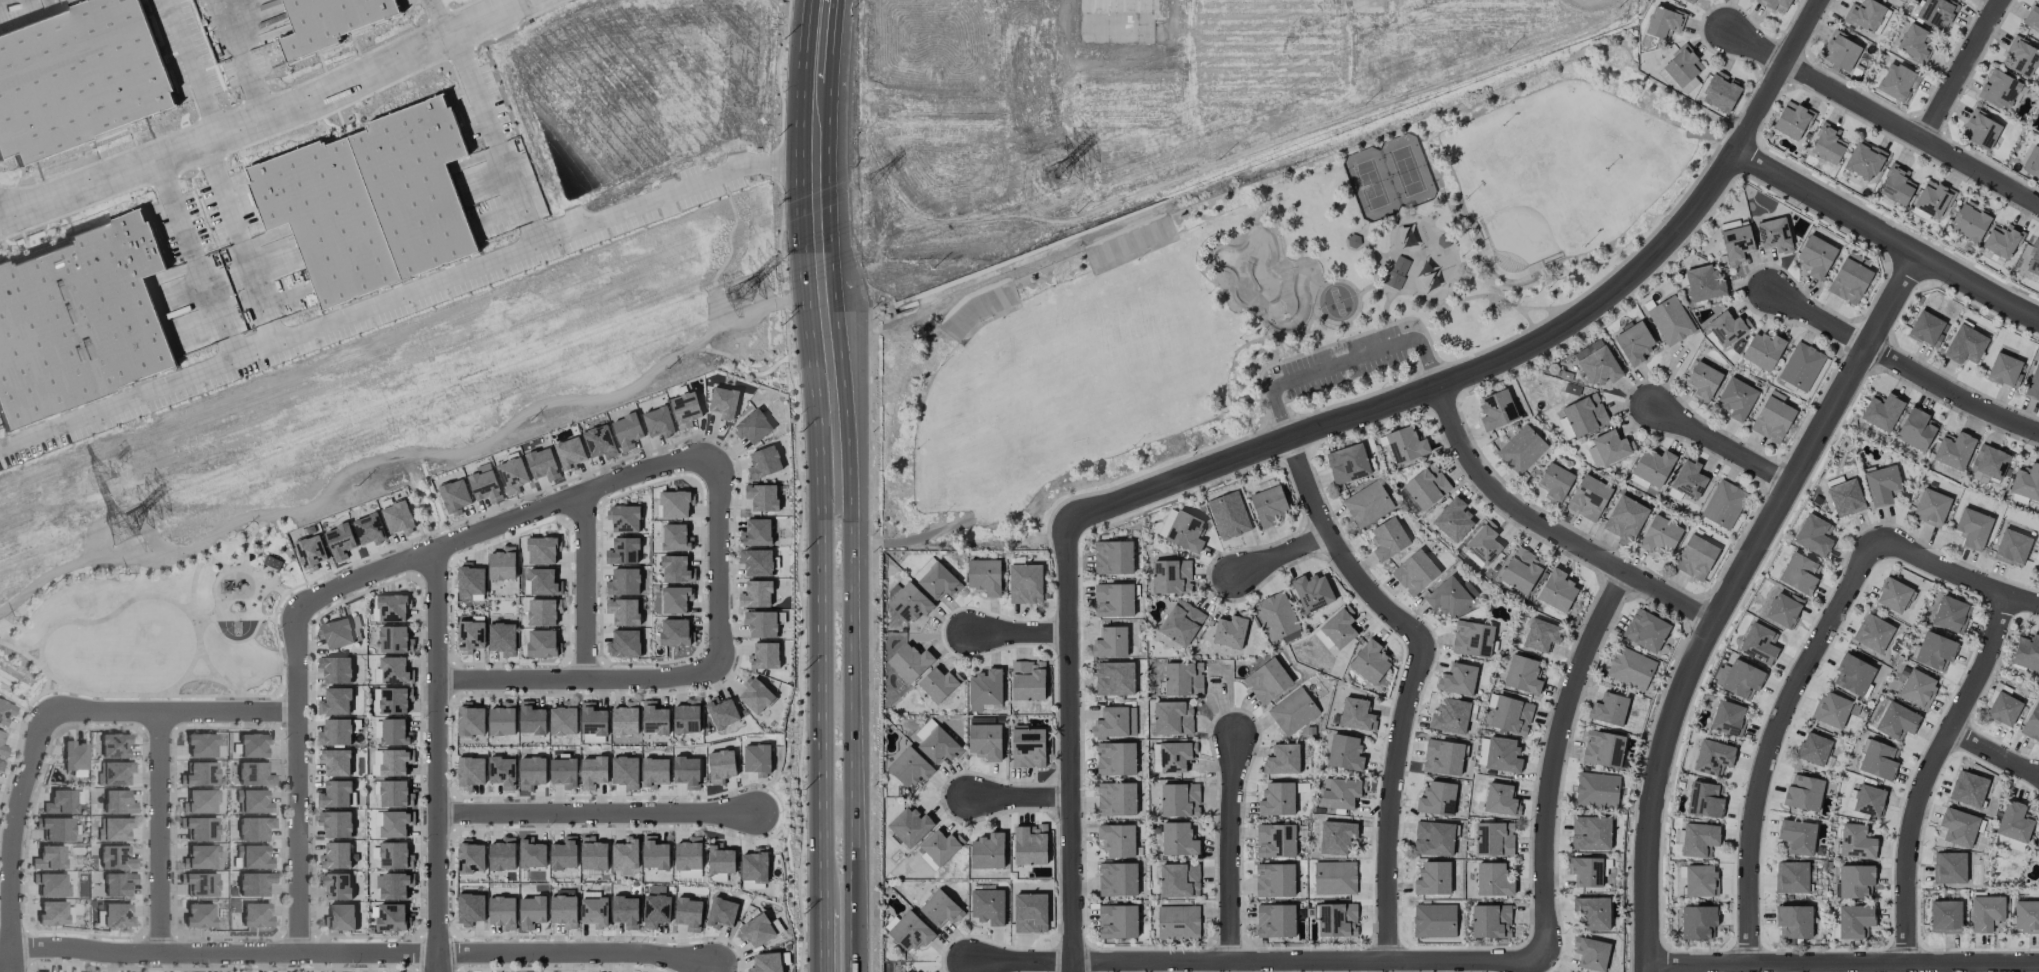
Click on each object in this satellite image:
building: (1689, 0)
building: (1775, 5)
road: (704, 6)
building: (1935, 13)
road: (437, 14)
building: (1864, 15)
building: (2033, 16)
building: (324, 20)
building: (1663, 22)
road: (504, 28)
road: (232, 39)
road: (459, 41)
building: (1913, 42)
road: (182, 46)
building: (1841, 50)
building: (2022, 57)
building: (1682, 66)
road: (1962, 69)
building: (75, 72)
road: (1777, 74)
building: (1897, 81)
building: (2001, 90)
building: (1720, 91)
road: (254, 95)
road: (207, 111)
road: (1881, 114)
road: (255, 115)
building: (1792, 120)
building: (1980, 129)
road: (543, 138)
building: (1827, 144)
road: (501, 148)
road: (208, 156)
building: (1863, 160)
road: (776, 161)
building: (2032, 162)
road: (162, 174)
park: (1389, 176)
power tower: (1055, 177)
building: (415, 178)
power tower: (875, 181)
building: (1896, 185)
building: (1933, 198)
building: (324, 212)
building: (1970, 221)
building: (1774, 234)
road: (1885, 237)
building: (1353, 240)
building: (1442, 240)
building: (2002, 240)
road: (818, 241)
building: (1736, 243)
road: (244, 256)
building: (1816, 256)
building: (1857, 258)
building: (1396, 271)
road: (201, 274)
park: (1270, 281)
building: (1849, 281)
building: (1703, 283)
building: (108, 297)
power tower: (741, 298)
road: (368, 300)
park: (1270, 301)
park: (1337, 302)
building: (1670, 320)
building: (1728, 327)
building: (1926, 328)
building: (1633, 342)
building: (1965, 345)
building: (32, 346)
building: (1762, 350)
parking lot: (1343, 362)
road: (1343, 362)
building: (1597, 363)
building: (1801, 366)
road: (1900, 367)
building: (2004, 370)
building: (1702, 382)
building: (2033, 383)
road: (1435, 388)
building: (1736, 398)
building: (723, 402)
building: (685, 409)
building: (1497, 409)
building: (1881, 411)
building: (1582, 416)
building: (1772, 417)
building: (658, 422)
building: (752, 426)
building: (1916, 429)
building: (626, 431)
building: (599, 441)
building: (1405, 444)
road: (1720, 444)
building: (1609, 448)
building: (1521, 449)
building: (1953, 450)
building: (569, 452)
building: (764, 462)
building: (1989, 462)
building: (1347, 463)
building: (542, 464)
building: (1653, 466)
power tower: (100, 475)
building: (512, 475)
building: (1689, 478)
building: (1554, 482)
building: (2026, 482)
building: (484, 483)
building: (1882, 485)
building: (1426, 486)
building: (454, 495)
building: (761, 496)
building: (1588, 497)
building: (1845, 497)
building: (1367, 503)
building: (673, 504)
building: (1723, 504)
building: (1268, 505)
building: (1931, 507)
building: (1228, 515)
building: (397, 517)
building: (625, 518)
building: (1625, 518)
building: (1453, 520)
road: (496, 526)
building: (369, 528)
building: (1972, 528)
building: (1181, 529)
road: (1550, 531)
power tower: (121, 532)
building: (756, 532)
building: (1659, 535)
building: (1813, 535)
building: (675, 537)
building: (1388, 538)
building: (339, 541)
building: (1482, 545)
building: (2011, 547)
building: (310, 550)
building: (541, 550)
building: (623, 551)
road: (1282, 555)
building: (1113, 557)
building: (1695, 557)
building: (271, 562)
road: (719, 562)
building: (756, 562)
building: (502, 564)
building: (675, 569)
building: (2038, 569)
building: (1521, 570)
building: (1415, 572)
building: (1799, 573)
road: (1956, 575)
building: (984, 576)
building: (1171, 576)
building: (470, 580)
building: (542, 581)
building: (623, 581)
building: (938, 581)
building: (1025, 583)
road: (584, 585)
building: (1557, 590)
building: (1312, 592)
building: (756, 594)
building: (1893, 595)
building: (1450, 596)
road: (1727, 596)
building: (675, 599)
building: (1113, 599)
building: (909, 603)
building: (391, 607)
building: (1783, 609)
building: (623, 611)
building: (541, 612)
building: (1949, 613)
road: (822, 614)
building: (1276, 615)
building: (1181, 622)
building: (760, 623)
building: (1339, 627)
building: (1230, 630)
building: (1645, 630)
building: (674, 632)
road: (1018, 632)
building: (337, 633)
building: (1873, 633)
building: (470, 635)
building: (1541, 635)
building: (502, 638)
building: (1322, 638)
building: (1472, 638)
building: (393, 639)
building: (1110, 642)
building: (541, 643)
building: (624, 643)
building: (1758, 644)
building: (1934, 651)
building: (2026, 652)
building: (764, 655)
building: (910, 662)
building: (1370, 662)
building: (1630, 668)
building: (335, 669)
building: (393, 670)
building: (1522, 674)
building: (1853, 675)
road: (1414, 676)
road: (576, 677)
building: (1114, 678)
building: (1183, 678)
building: (1740, 678)
building: (1458, 679)
building: (1028, 680)
building: (1267, 680)
building: (939, 683)
building: (985, 688)
building: (1917, 688)
building: (755, 696)
building: (393, 700)
building: (335, 701)
road: (172, 709)
building: (1608, 709)
building: (1831, 709)
building: (2003, 709)
building: (1293, 711)
building: (4, 712)
building: (722, 712)
building: (1356, 714)
building: (1511, 715)
building: (1450, 716)
building: (686, 717)
building: (1172, 717)
building: (1727, 717)
building: (531, 718)
building: (654, 718)
building: (502, 719)
building: (563, 719)
building: (593, 719)
building: (625, 719)
building: (470, 720)
building: (1896, 721)
building: (1115, 722)
building: (2031, 723)
road: (852, 726)
building: (924, 730)
building: (394, 731)
building: (335, 732)
building: (0, 735)
road: (1771, 738)
building: (985, 740)
building: (113, 745)
building: (200, 745)
building: (252, 745)
building: (939, 745)
road: (1070, 747)
building: (1028, 748)
building: (1603, 748)
building: (1814, 748)
building: (2, 750)
road: (437, 751)
building: (1344, 752)
road: (1994, 752)
building: (73, 755)
building: (1502, 755)
building: (1175, 756)
building: (1443, 757)
building: (1712, 757)
building: (1116, 758)
road: (1554, 758)
building: (757, 759)
building: (1282, 759)
building: (1877, 760)
building: (335, 761)
building: (391, 761)
building: (720, 766)
building: (909, 767)
building: (470, 771)
building: (593, 771)
building: (687, 771)
building: (502, 772)
building: (531, 772)
building: (563, 772)
building: (625, 772)
building: (654, 772)
building: (113, 773)
building: (250, 773)
building: (198, 774)
road: (1930, 774)
road: (295, 783)
building: (1968, 788)
building: (1596, 790)
building: (1341, 792)
building: (1803, 792)
building: (335, 794)
road: (1017, 798)
building: (1116, 798)
building: (1180, 799)
building: (1277, 799)
building: (1437, 799)
building: (1500, 799)
building: (1704, 800)
building: (1866, 800)
building: (197, 801)
building: (251, 801)
building: (60, 802)
building: (116, 802)
road: (594, 813)
building: (2014, 821)
building: (335, 823)
building: (394, 824)
road: (13, 825)
building: (910, 826)
road: (825, 827)
building: (1959, 827)
building: (54, 828)
building: (198, 828)
building: (252, 828)
building: (112, 829)
road: (159, 829)
building: (1591, 833)
building: (1797, 836)
building: (1336, 837)
building: (1434, 838)
building: (1698, 838)
building: (1117, 839)
building: (1178, 839)
building: (1493, 839)
building: (1275, 840)
building: (1856, 841)
building: (1030, 844)
building: (940, 846)
road: (1230, 848)
building: (987, 851)
building: (564, 853)
building: (625, 853)
building: (654, 853)
building: (391, 854)
building: (502, 854)
building: (532, 854)
building: (593, 854)
building: (688, 854)
building: (335, 855)
building: (251, 856)
building: (470, 856)
building: (197, 857)
building: (48, 858)
building: (720, 859)
building: (1949, 867)
building: (1585, 871)
building: (1791, 877)
building: (1334, 878)
building: (1433, 878)
building: (1117, 879)
building: (1274, 879)
building: (1493, 879)
building: (1179, 880)
building: (1700, 880)
building: (1855, 880)
building: (48, 884)
building: (116, 884)
building: (198, 884)
building: (252, 884)
building: (335, 885)
building: (392, 885)
building: (988, 906)
building: (656, 907)
building: (470, 908)
building: (940, 908)
building: (564, 910)
building: (502, 911)
building: (531, 911)
building: (625, 911)
building: (51, 912)
building: (594, 912)
building: (722, 912)
building: (1592, 912)
building: (1986, 912)
building: (688, 913)
building: (1030, 913)
building: (116, 915)
building: (197, 915)
building: (254, 915)
building: (391, 916)
building: (1945, 916)
building: (2026, 916)
building: (339, 917)
building: (1336, 919)
building: (1275, 920)
building: (1434, 920)
building: (1854, 920)
building: (1117, 921)
building: (1490, 921)
building: (1697, 921)
building: (1794, 921)
building: (1178, 922)
building: (756, 930)
building: (910, 931)
road: (825, 939)
road: (218, 949)
road: (574, 950)
building: (1591, 953)
road: (4, 960)
road: (11, 960)
road: (1257, 960)
road: (432, 962)
road: (439, 962)
building: (766, 962)
road: (1842, 963)
building: (907, 971)

